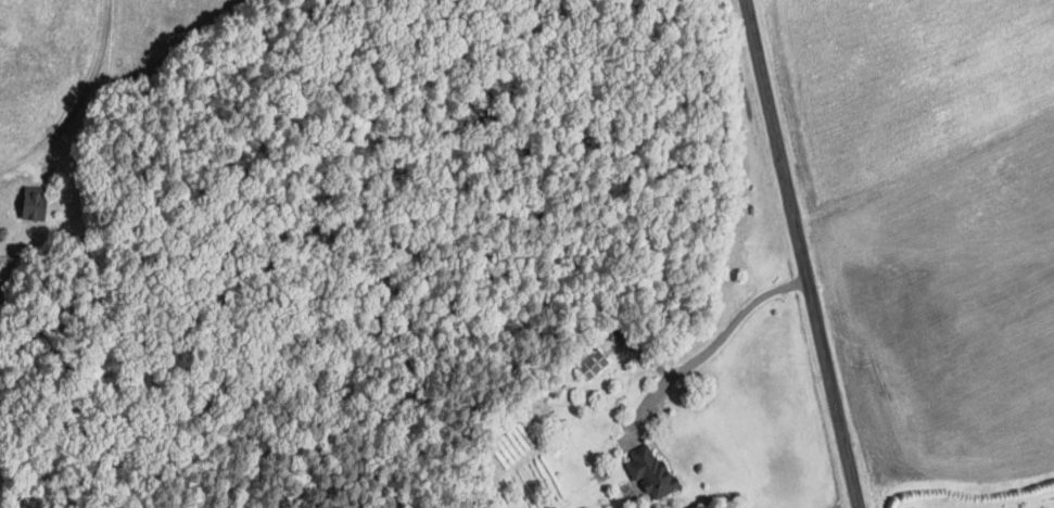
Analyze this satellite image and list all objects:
road: (88, 86)
building: (39, 202)
road: (801, 254)
road: (716, 339)
building: (653, 470)

